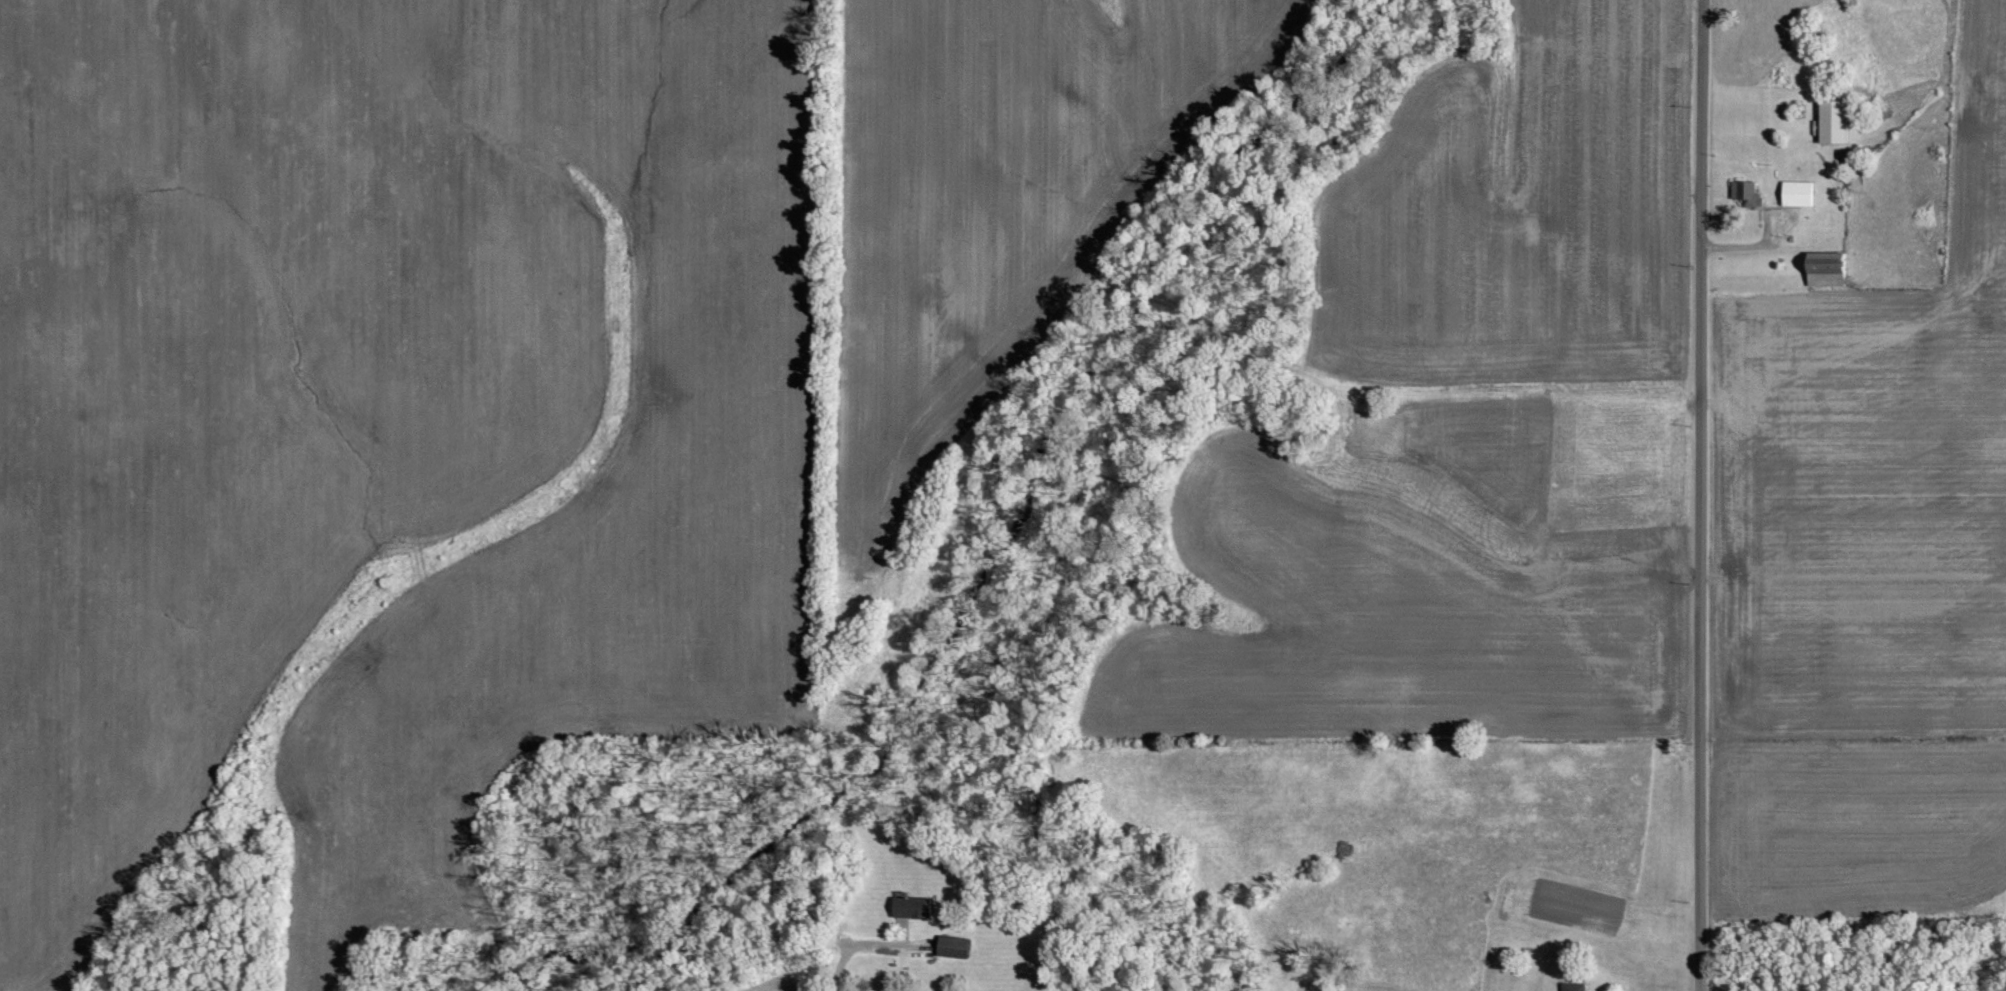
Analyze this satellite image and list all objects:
building: (1835, 122)
building: (1798, 193)
building: (1747, 194)
building: (1828, 269)
crop: (1874, 473)
road: (1704, 495)
crop: (1854, 824)
building: (911, 907)
building: (952, 947)
building: (1573, 986)

